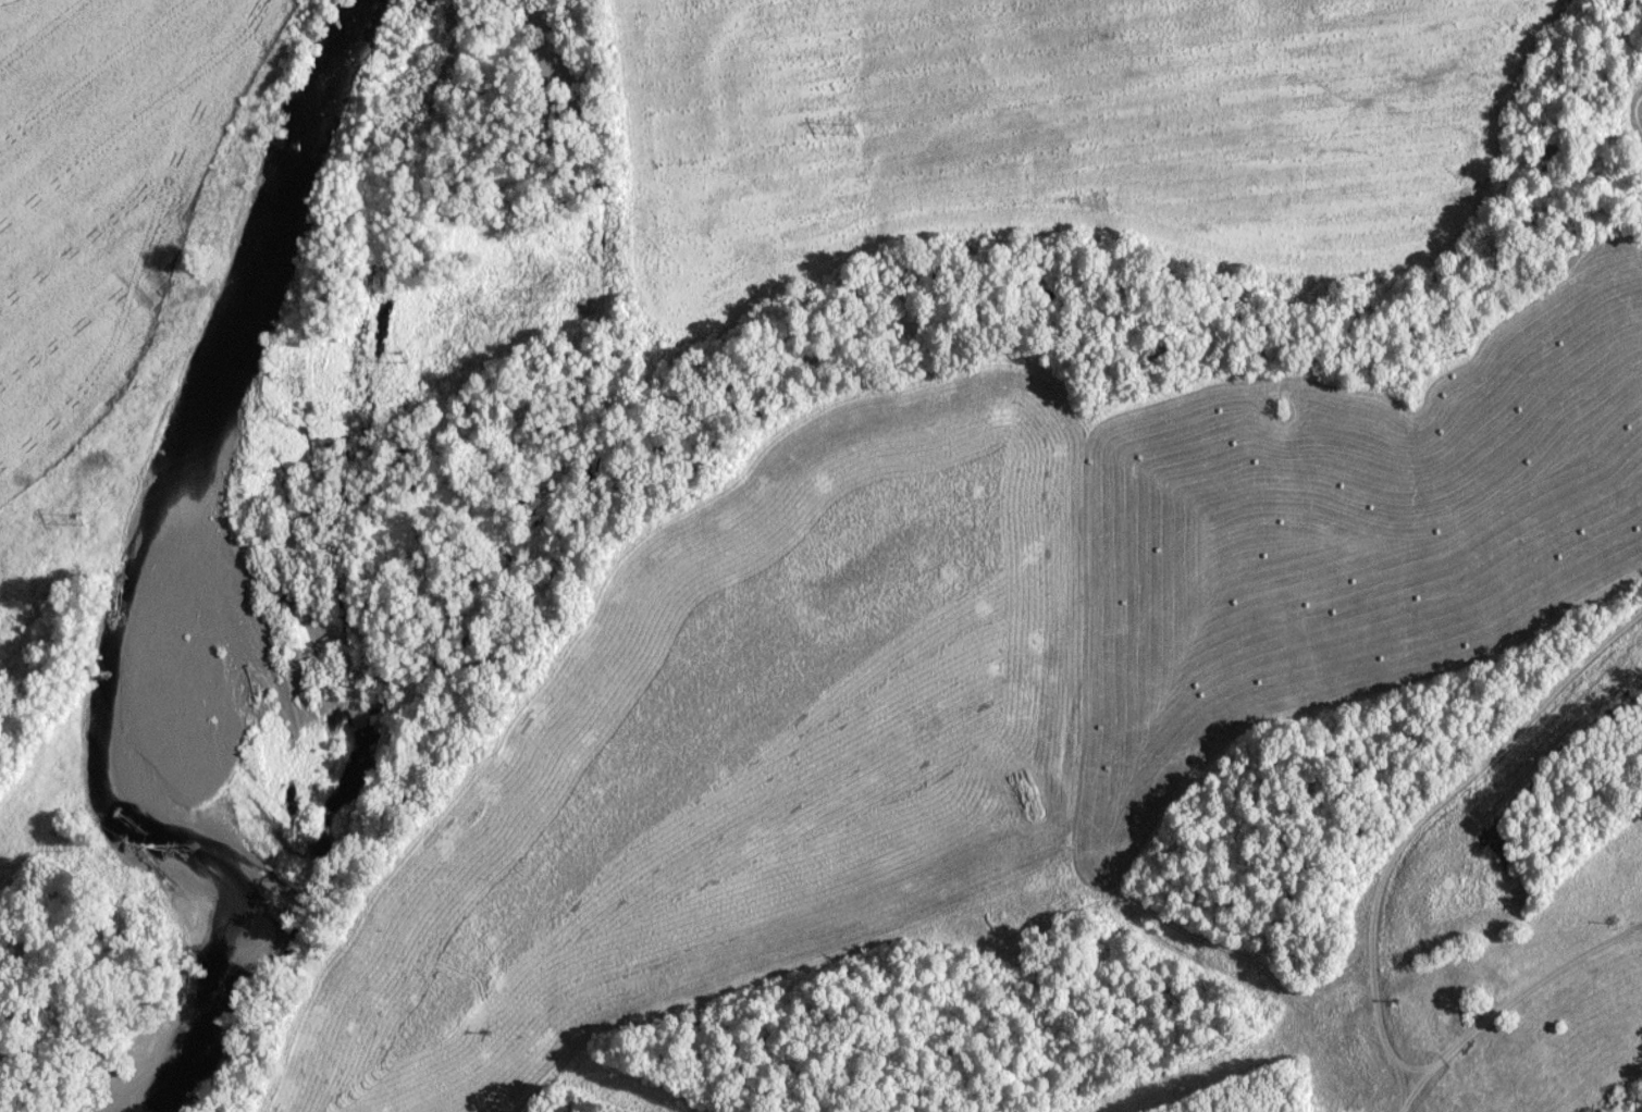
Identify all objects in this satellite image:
power tower: (853, 129)
power tower: (403, 360)
power tower: (79, 519)
river: (230, 570)
road: (1433, 817)
crop: (15, 874)
road: (1502, 999)

